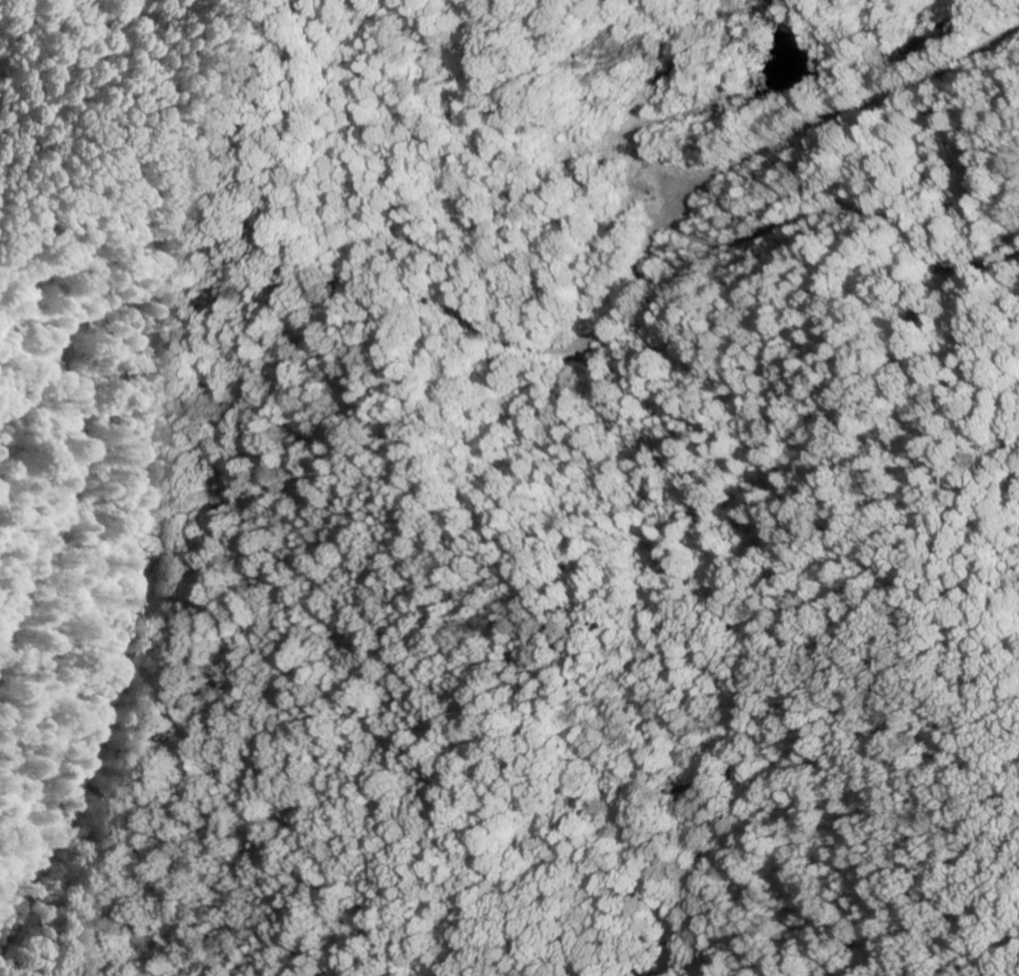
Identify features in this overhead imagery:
road: (678, 217)

